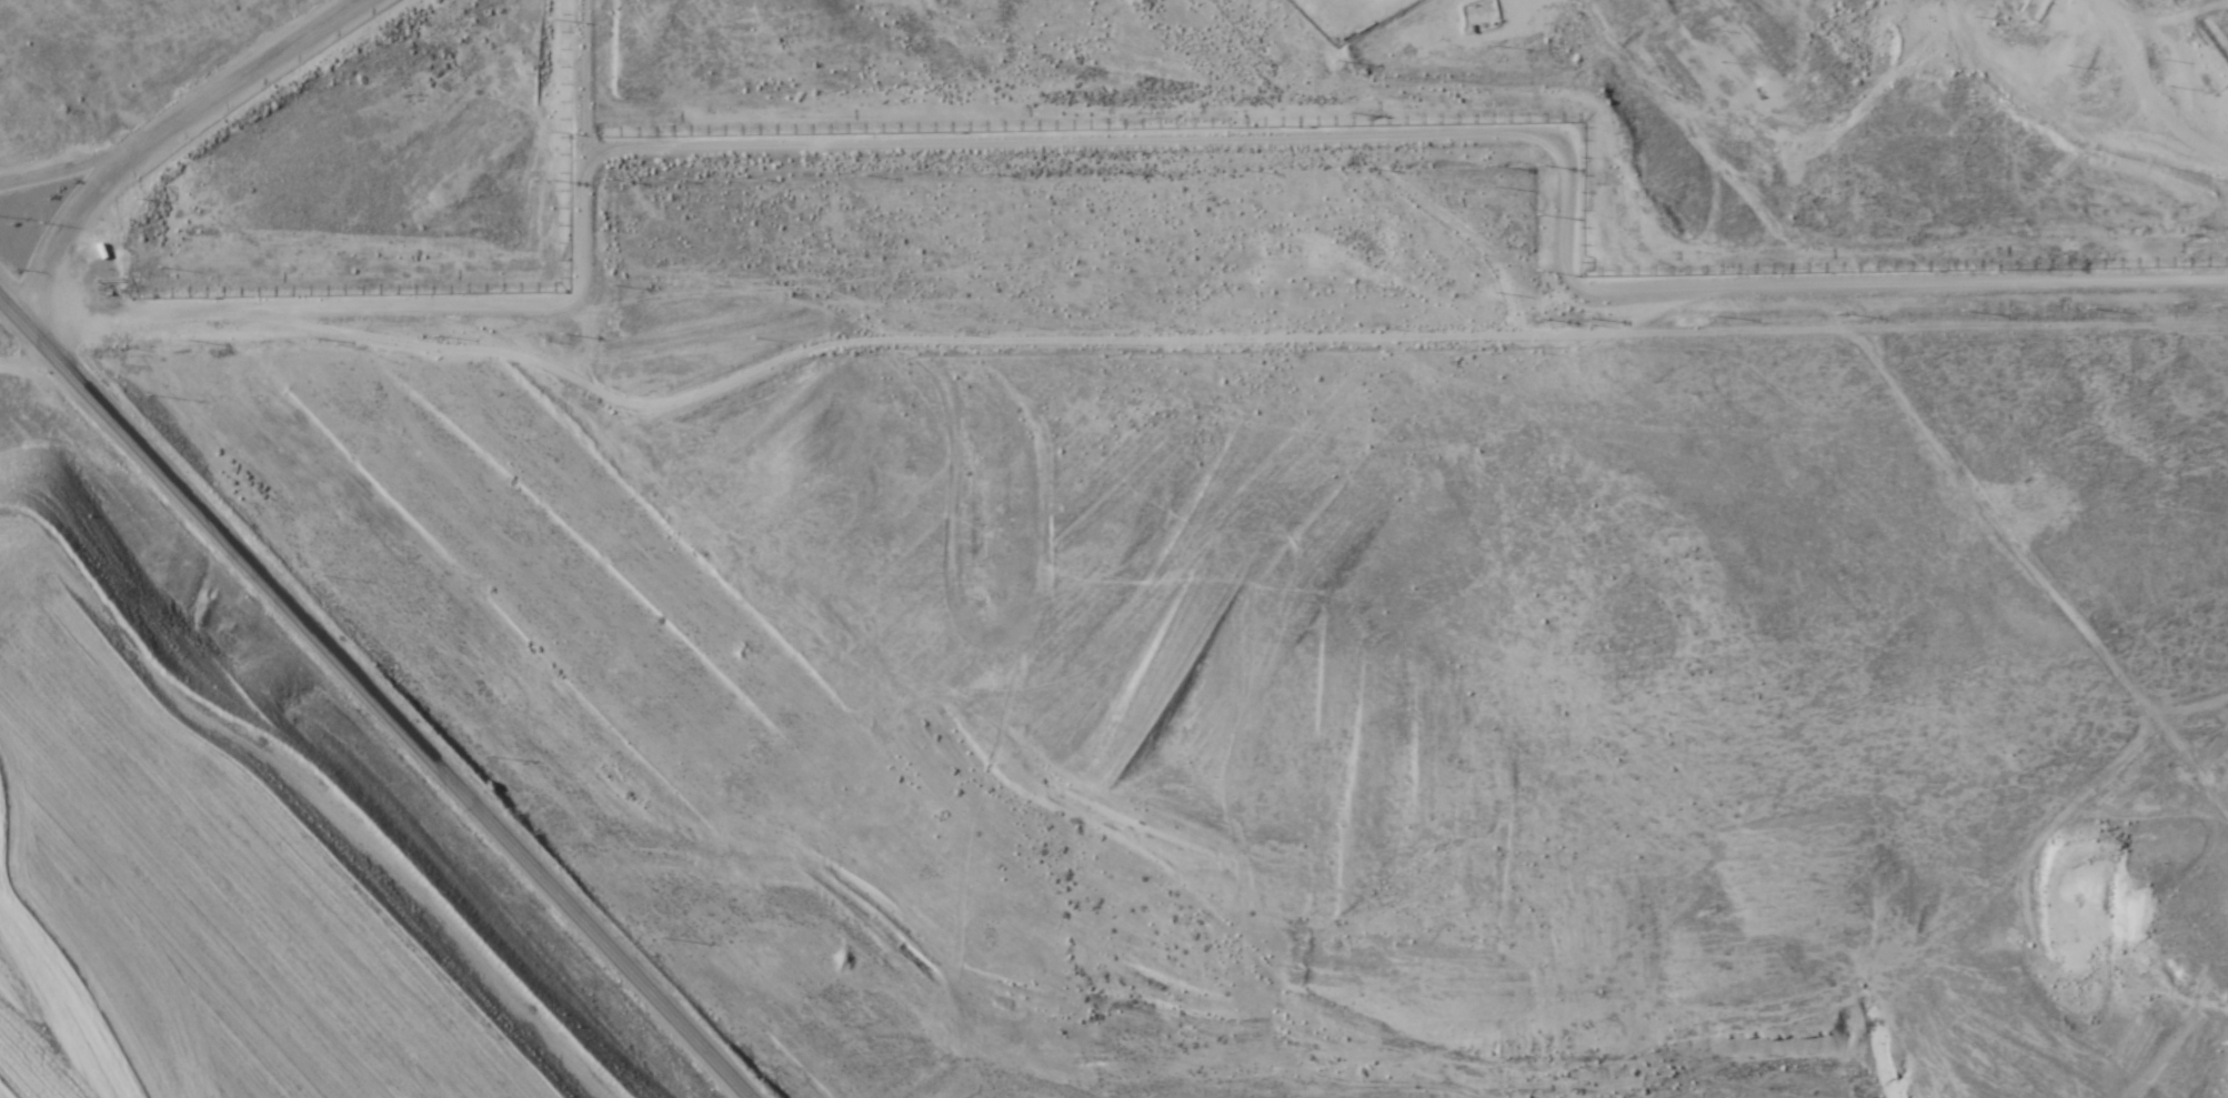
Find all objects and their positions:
building: (2000, 27)
road: (190, 143)
road: (81, 280)
road: (382, 688)

